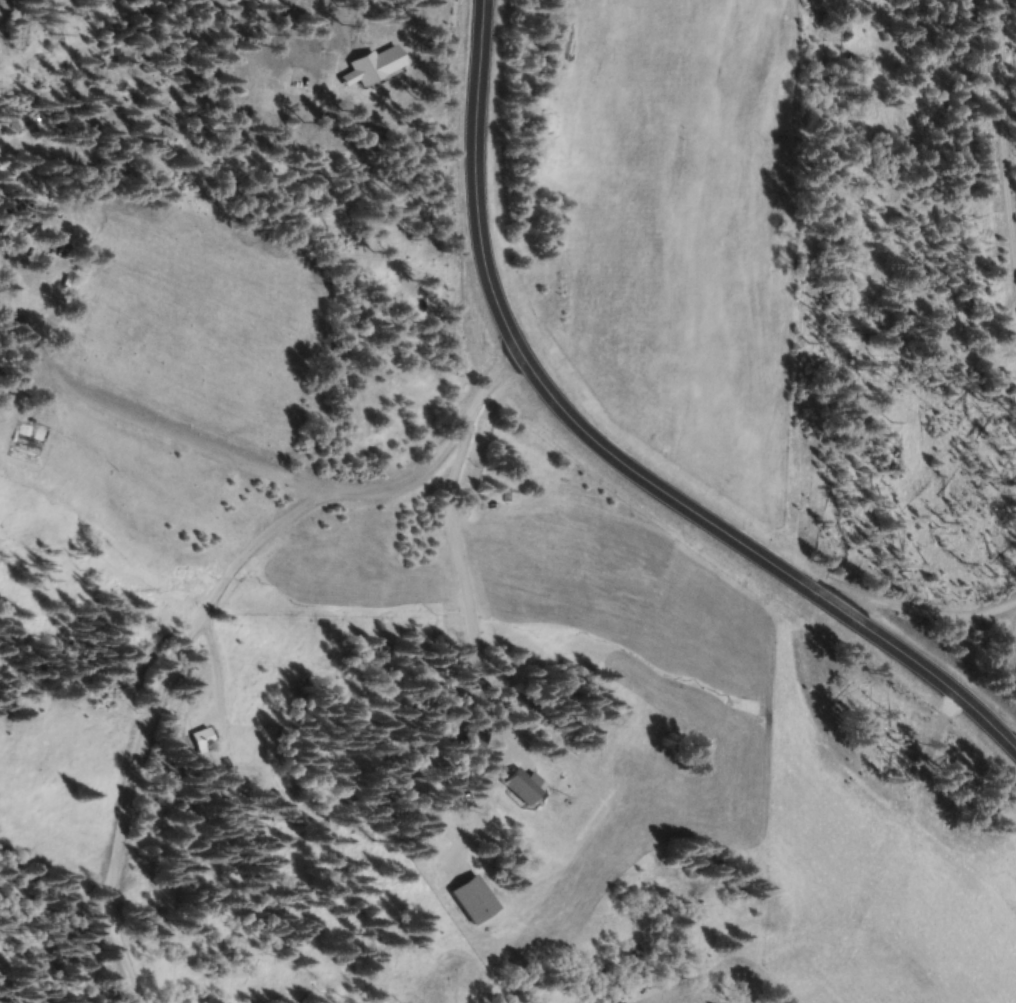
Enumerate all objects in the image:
road: (286, 30)
building: (377, 65)
building: (314, 79)
road: (1001, 130)
road: (611, 456)
road: (343, 496)
road: (906, 607)
building: (476, 735)
building: (203, 739)
building: (526, 786)
road: (115, 826)

